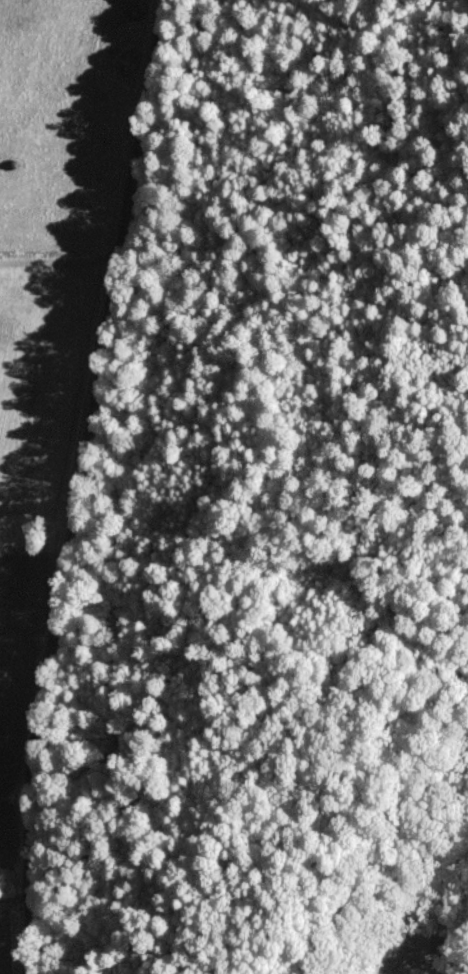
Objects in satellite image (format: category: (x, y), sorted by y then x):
road: (75, 484)

